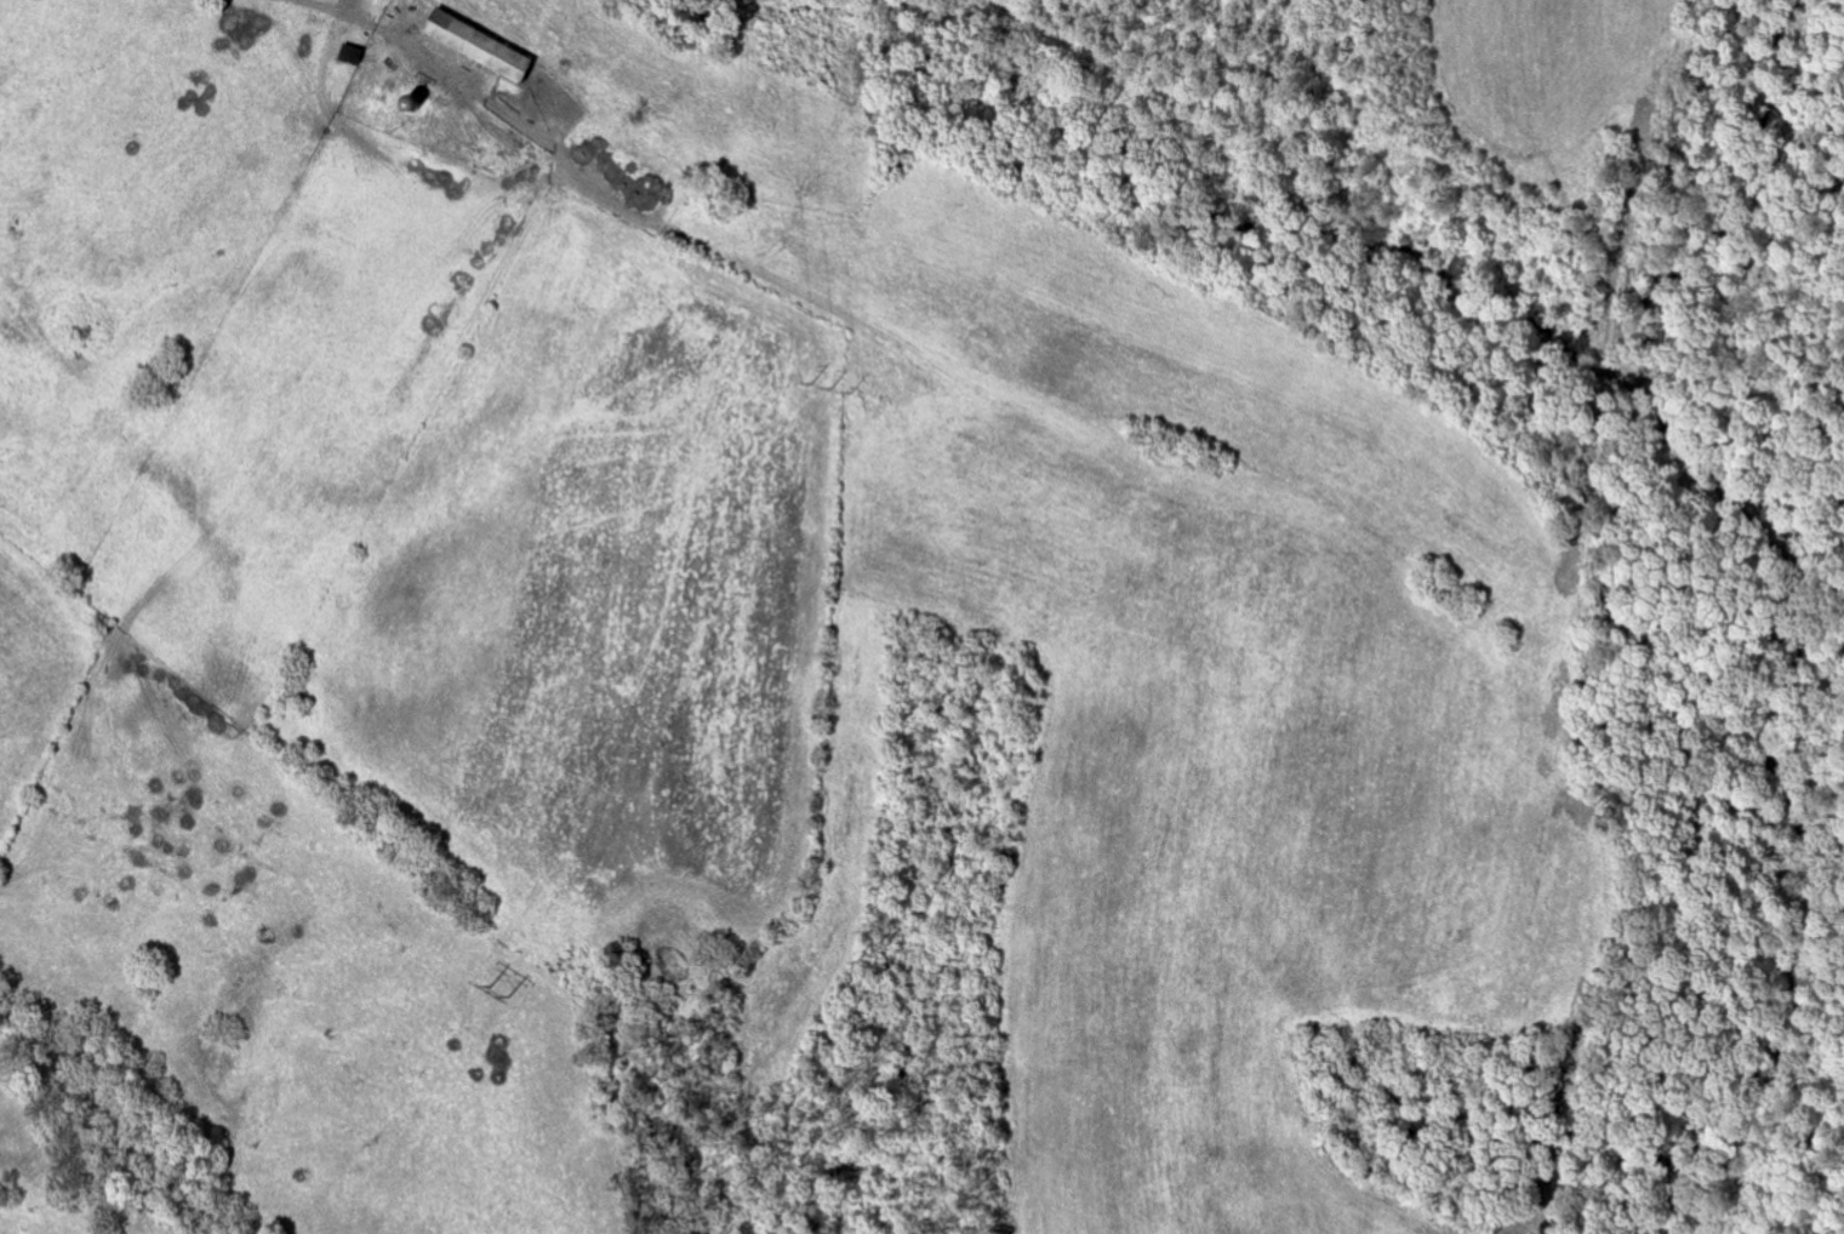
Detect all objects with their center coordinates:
road: (383, 33)
building: (481, 46)
building: (353, 55)
power tower: (830, 387)
power tower: (497, 993)

